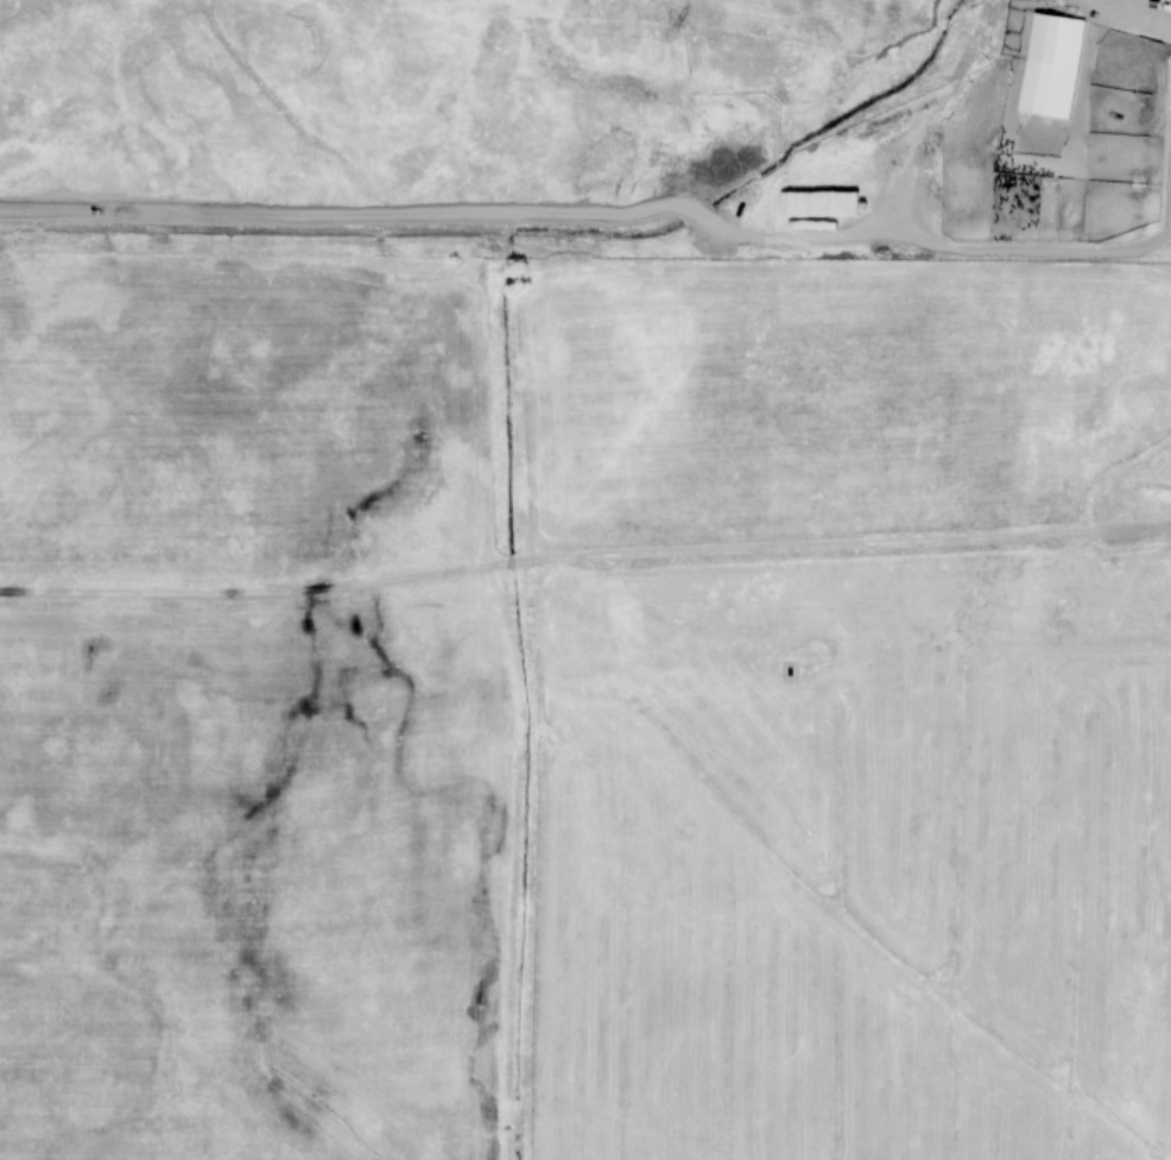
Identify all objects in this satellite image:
road: (1108, 17)
building: (1052, 67)
road: (584, 559)

